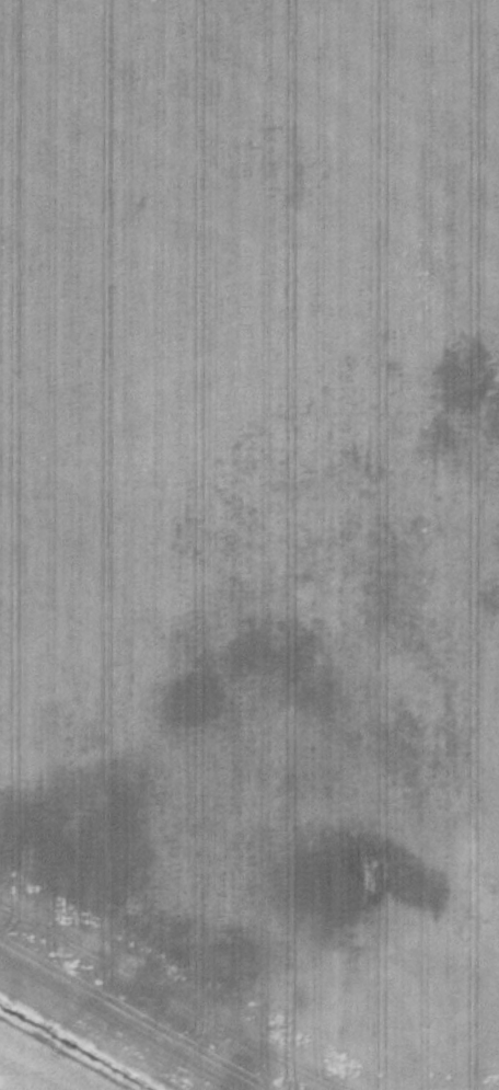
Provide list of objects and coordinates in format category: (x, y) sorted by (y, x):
crop: (253, 533)
crop: (40, 1066)

